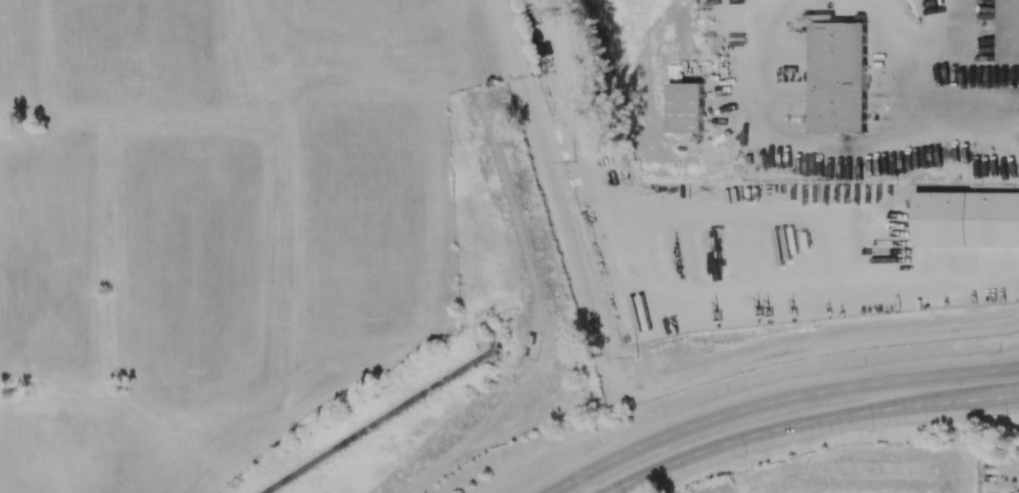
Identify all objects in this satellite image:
building: (1009, 31)
road: (511, 39)
park: (137, 42)
park: (13, 43)
building: (838, 77)
building: (685, 107)
road: (832, 153)
power tower: (574, 161)
park: (370, 207)
park: (39, 253)
park: (194, 263)
building: (534, 340)
street lamp: (999, 350)
power tower: (637, 355)
street lamp: (864, 365)
road: (942, 375)
road: (659, 390)
street lamp: (726, 394)
road: (1010, 395)
road: (974, 398)
road: (908, 406)
road: (507, 407)
street lamp: (1005, 415)
road: (702, 421)
road: (540, 423)
street lamp: (872, 430)
road: (733, 440)
street lamp: (595, 447)
park: (57, 454)
street lamp: (745, 456)
road: (1015, 468)
road: (434, 475)
building: (749, 489)
building: (1017, 492)

